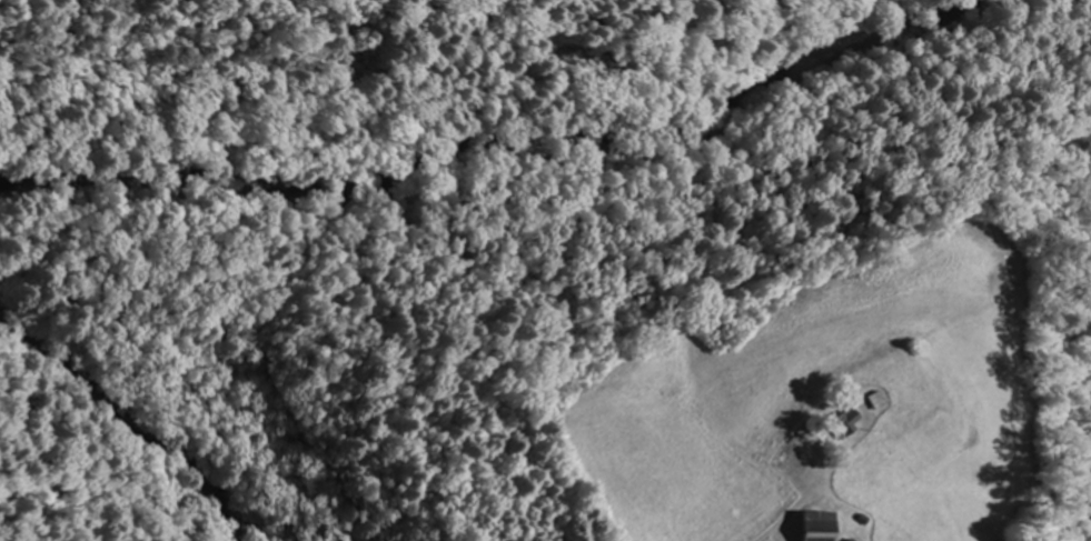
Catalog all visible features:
building: (840, 423)
building: (790, 461)
building: (814, 527)

